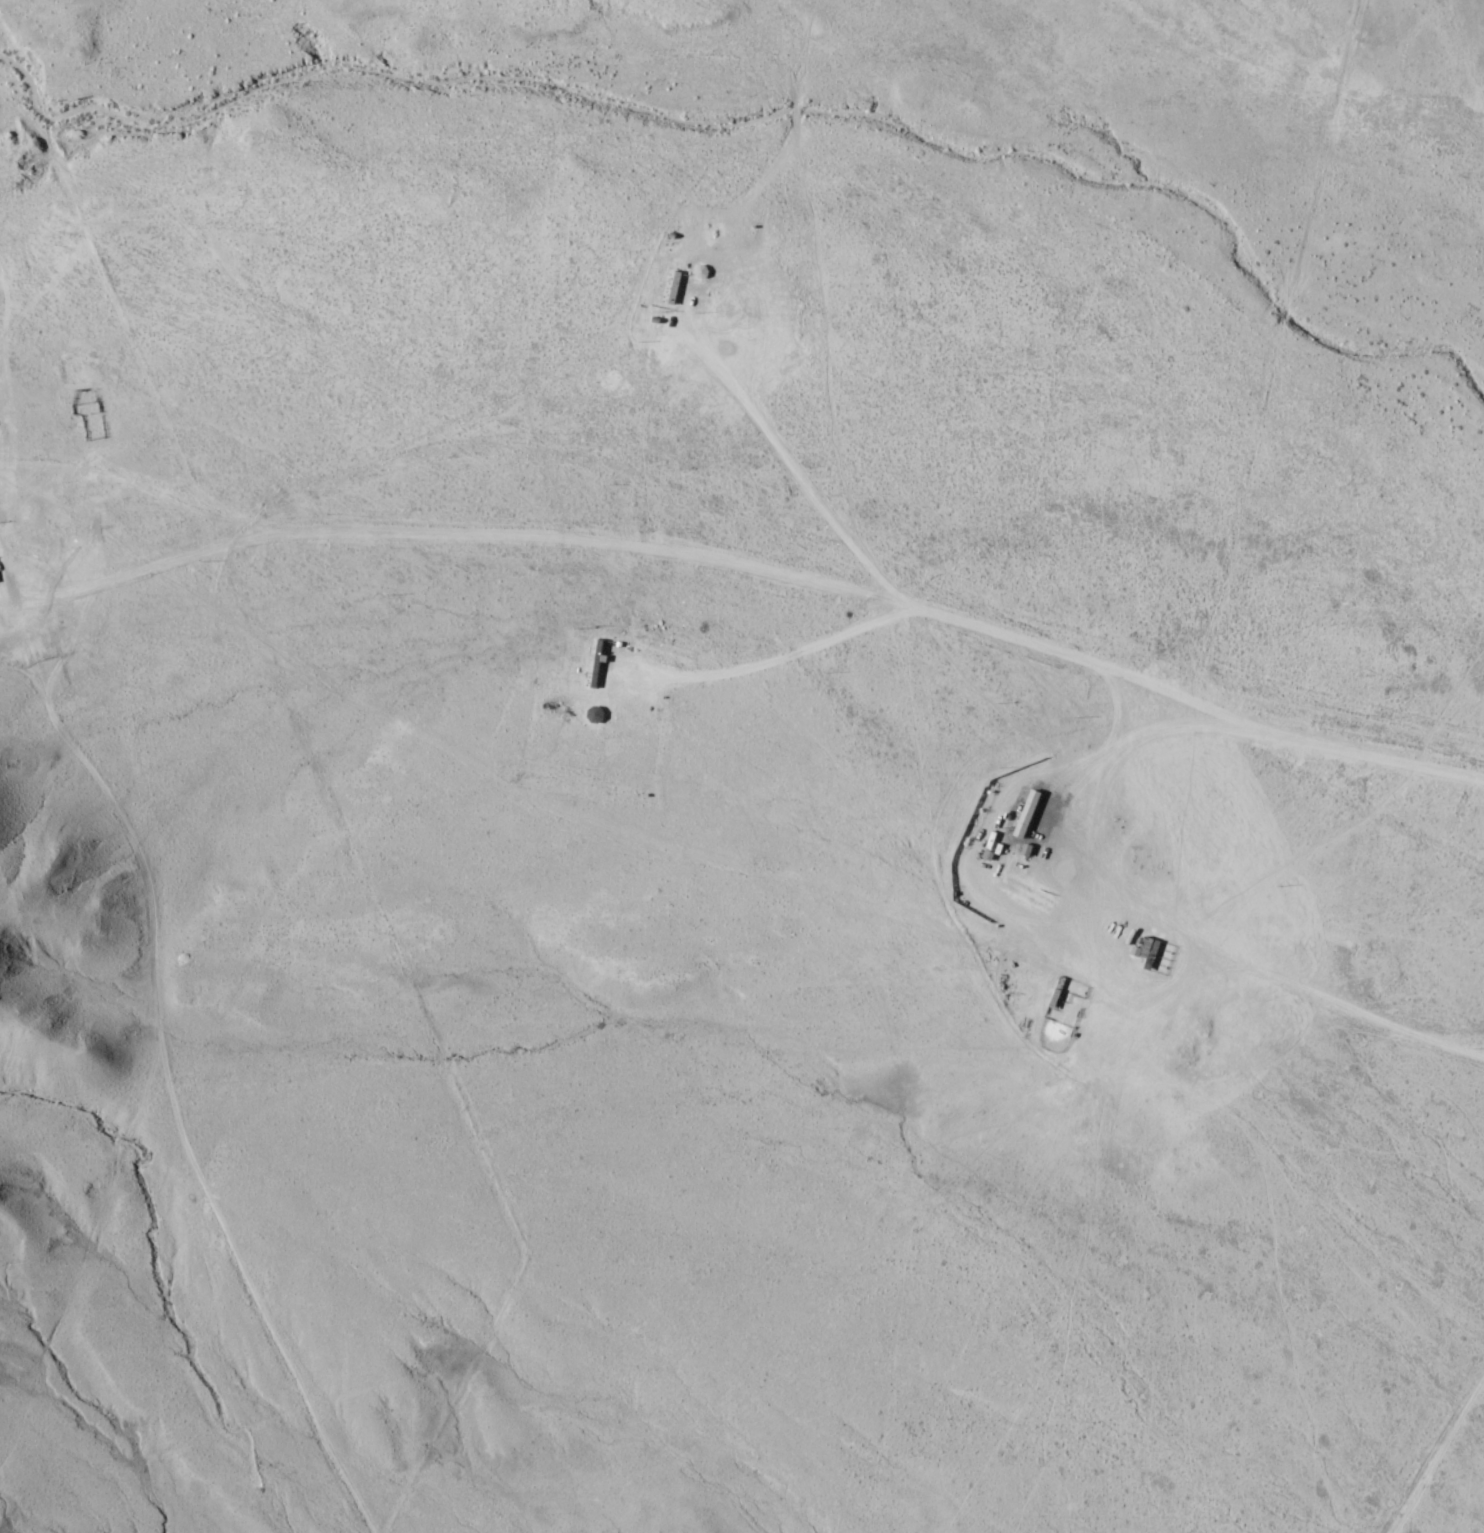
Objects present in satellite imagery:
building: (668, 287)
building: (594, 663)
building: (595, 714)
building: (1024, 817)
building: (1145, 943)
road: (1458, 1483)

